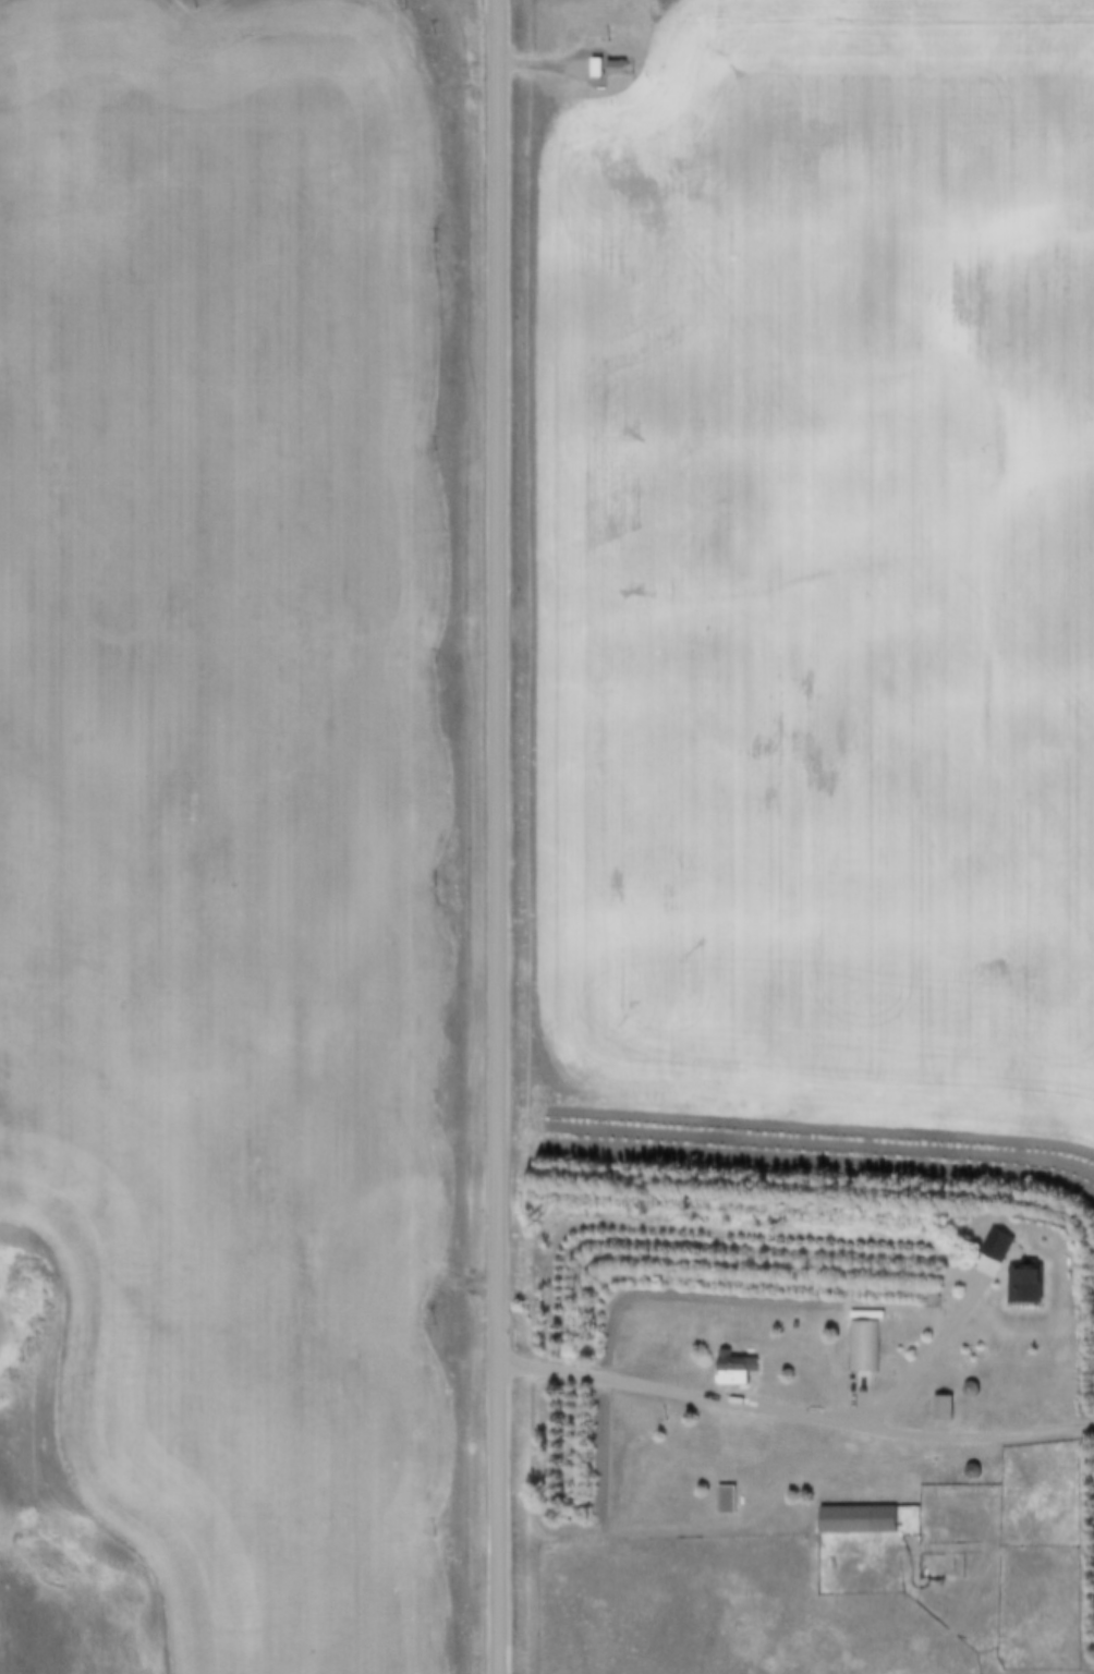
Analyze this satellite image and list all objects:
building: (615, 66)
road: (497, 837)
building: (862, 1346)
building: (898, 1352)
building: (733, 1368)
road: (726, 1403)
building: (941, 1407)
road: (1024, 1434)
building: (726, 1500)
building: (856, 1518)

